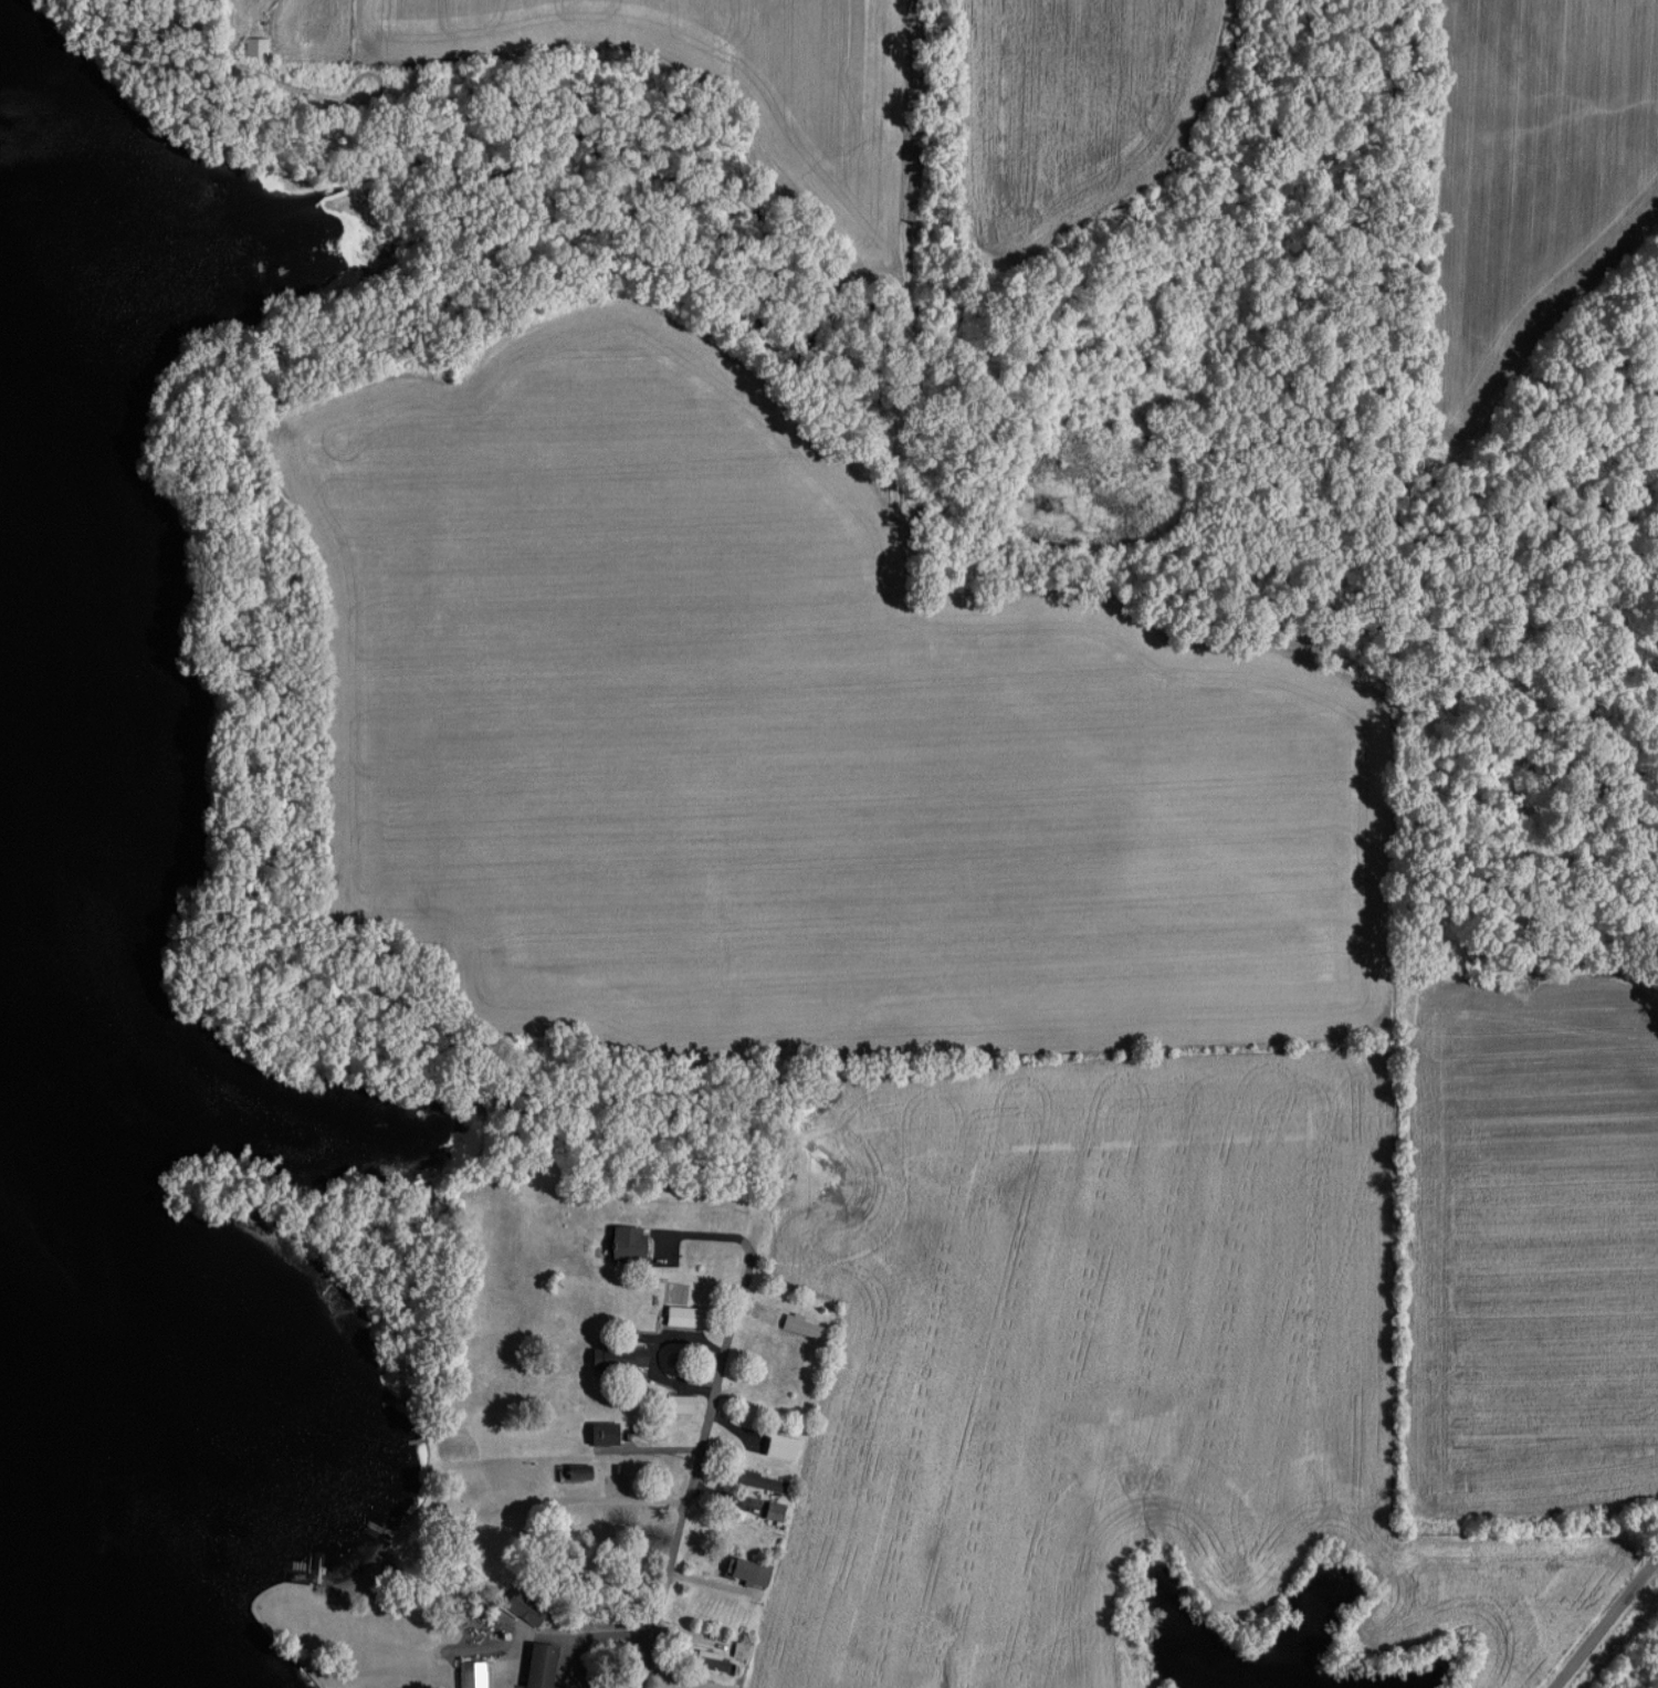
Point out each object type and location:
building: (626, 1240)
building: (682, 1315)
building: (800, 1325)
building: (615, 1359)
building: (678, 1403)
road: (707, 1417)
building: (601, 1433)
building: (777, 1446)
building: (576, 1474)
building: (760, 1480)
building: (772, 1511)
building: (747, 1570)
building: (523, 1606)
road: (1608, 1625)
building: (738, 1649)
building: (710, 1663)
building: (538, 1665)
building: (472, 1674)
building: (691, 1682)
park: (1649, 1685)

